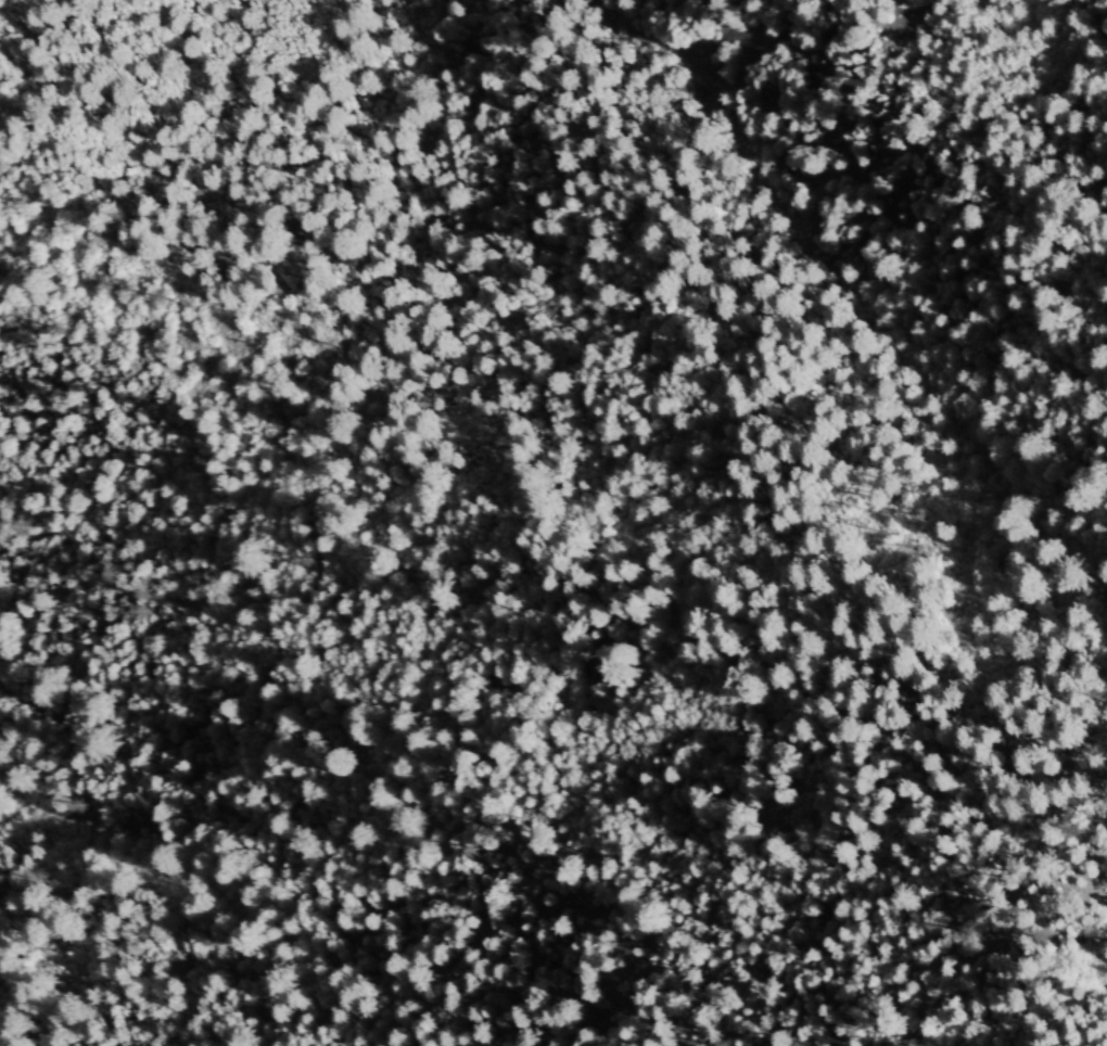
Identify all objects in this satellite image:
road: (1083, 869)

